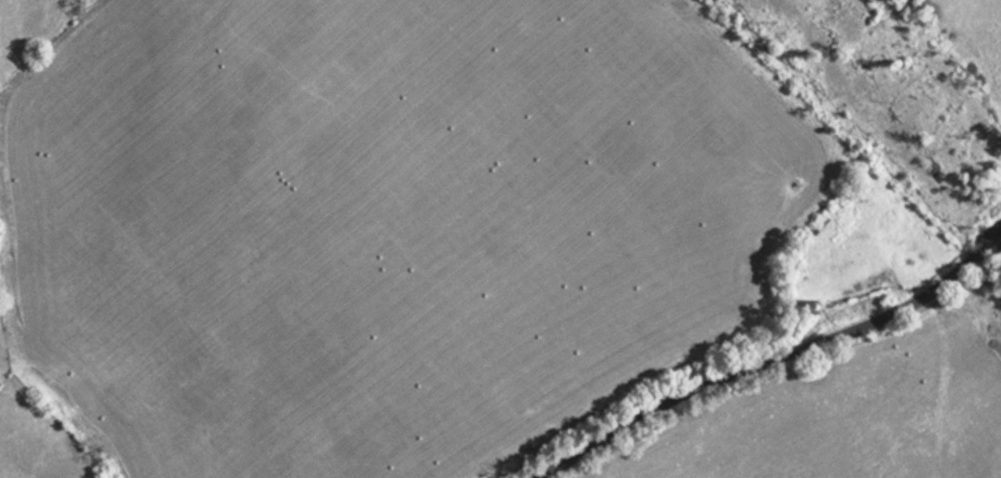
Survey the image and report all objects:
crop: (33, 29)
road: (772, 354)
crop: (41, 428)

